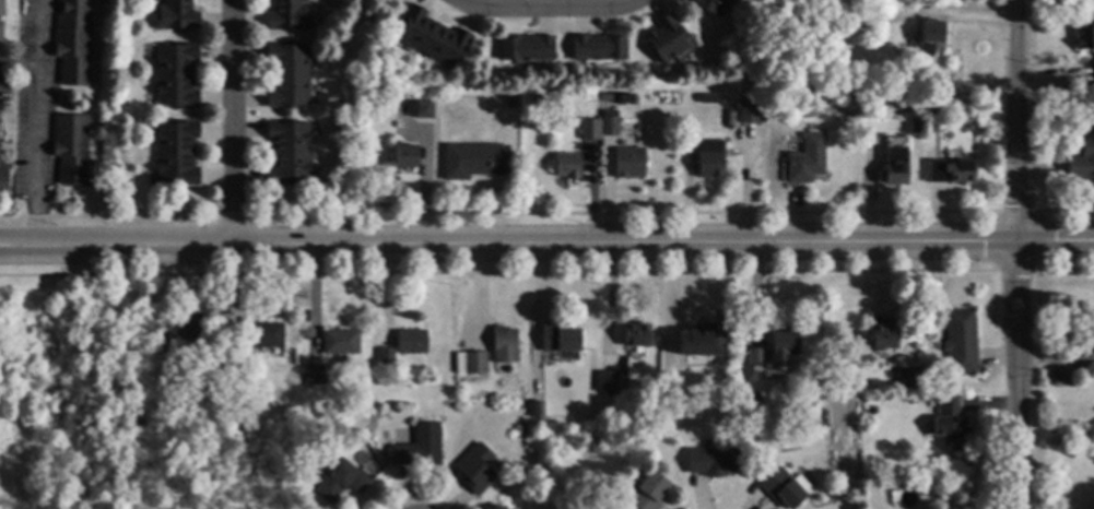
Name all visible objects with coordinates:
road: (544, 5)
building: (708, 5)
building: (1, 9)
building: (176, 16)
building: (287, 16)
building: (1, 32)
building: (929, 37)
building: (1085, 37)
building: (432, 38)
building: (666, 39)
building: (73, 42)
building: (526, 48)
building: (598, 48)
road: (20, 66)
building: (881, 73)
building: (176, 75)
building: (287, 75)
building: (1093, 76)
building: (608, 97)
building: (625, 100)
building: (510, 103)
building: (420, 109)
building: (749, 113)
road: (38, 121)
road: (231, 121)
building: (610, 125)
building: (589, 129)
building: (895, 142)
building: (71, 147)
building: (287, 153)
building: (176, 154)
building: (404, 156)
building: (1082, 158)
building: (709, 159)
building: (805, 159)
building: (474, 162)
building: (628, 163)
building: (567, 166)
building: (896, 167)
building: (951, 171)
building: (3, 180)
road: (546, 241)
road: (1015, 253)
building: (180, 335)
building: (637, 335)
building: (263, 336)
building: (883, 338)
building: (558, 339)
building: (701, 341)
building: (339, 342)
building: (411, 342)
building: (961, 342)
building: (783, 344)
building: (504, 345)
building: (1082, 353)
building: (386, 358)
building: (754, 358)
building: (470, 364)
building: (232, 366)
building: (315, 376)
building: (1062, 376)
building: (910, 378)
building: (607, 382)
building: (924, 384)
park: (78, 395)
building: (871, 411)
building: (811, 423)
building: (950, 423)
building: (139, 424)
building: (237, 433)
building: (634, 437)
building: (419, 448)
building: (715, 461)
building: (475, 470)
building: (340, 481)
building: (781, 488)
building: (648, 492)
building: (501, 507)

